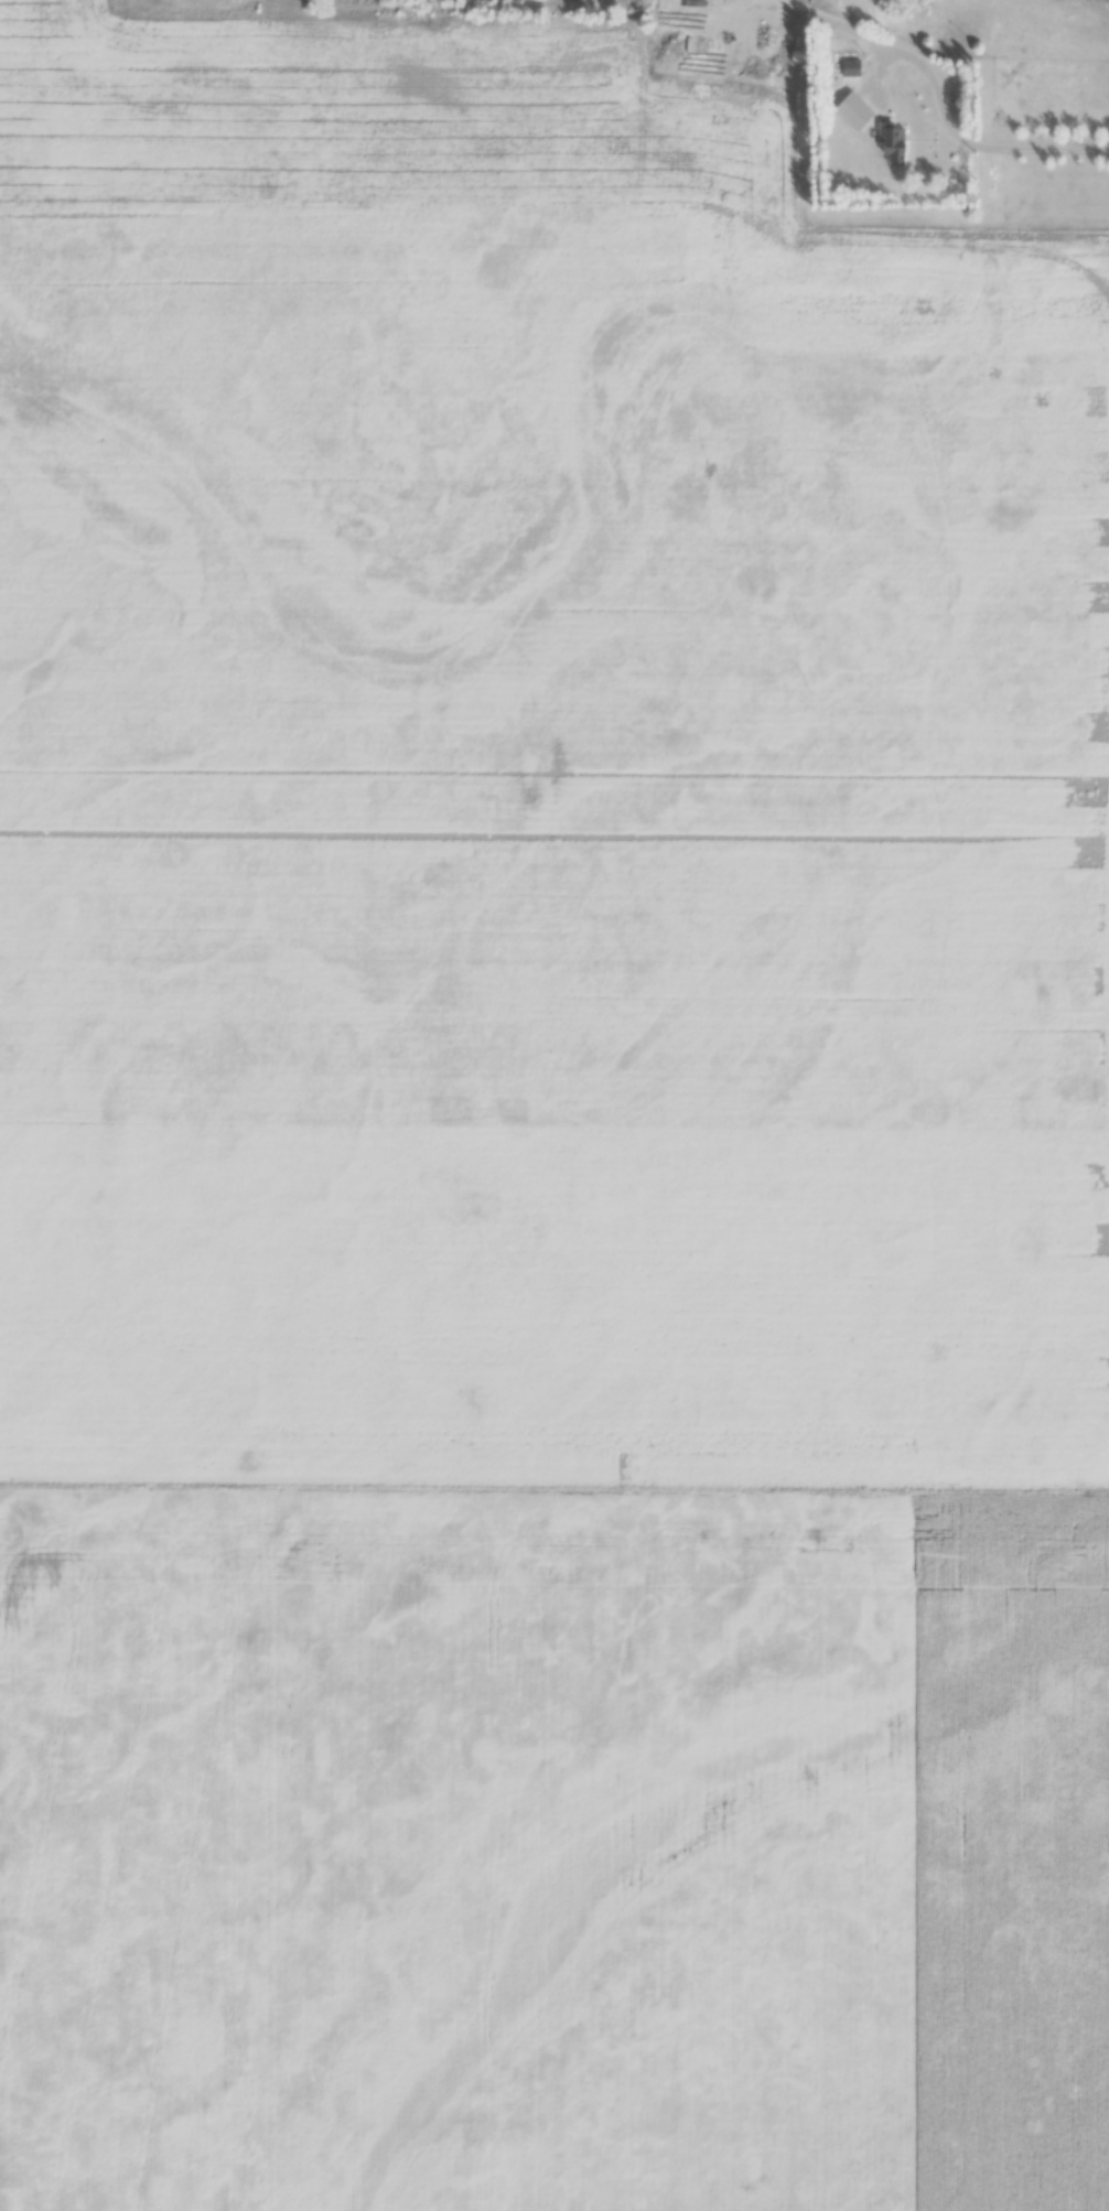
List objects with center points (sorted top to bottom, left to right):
road: (831, 19)
road: (957, 130)
building: (893, 142)

